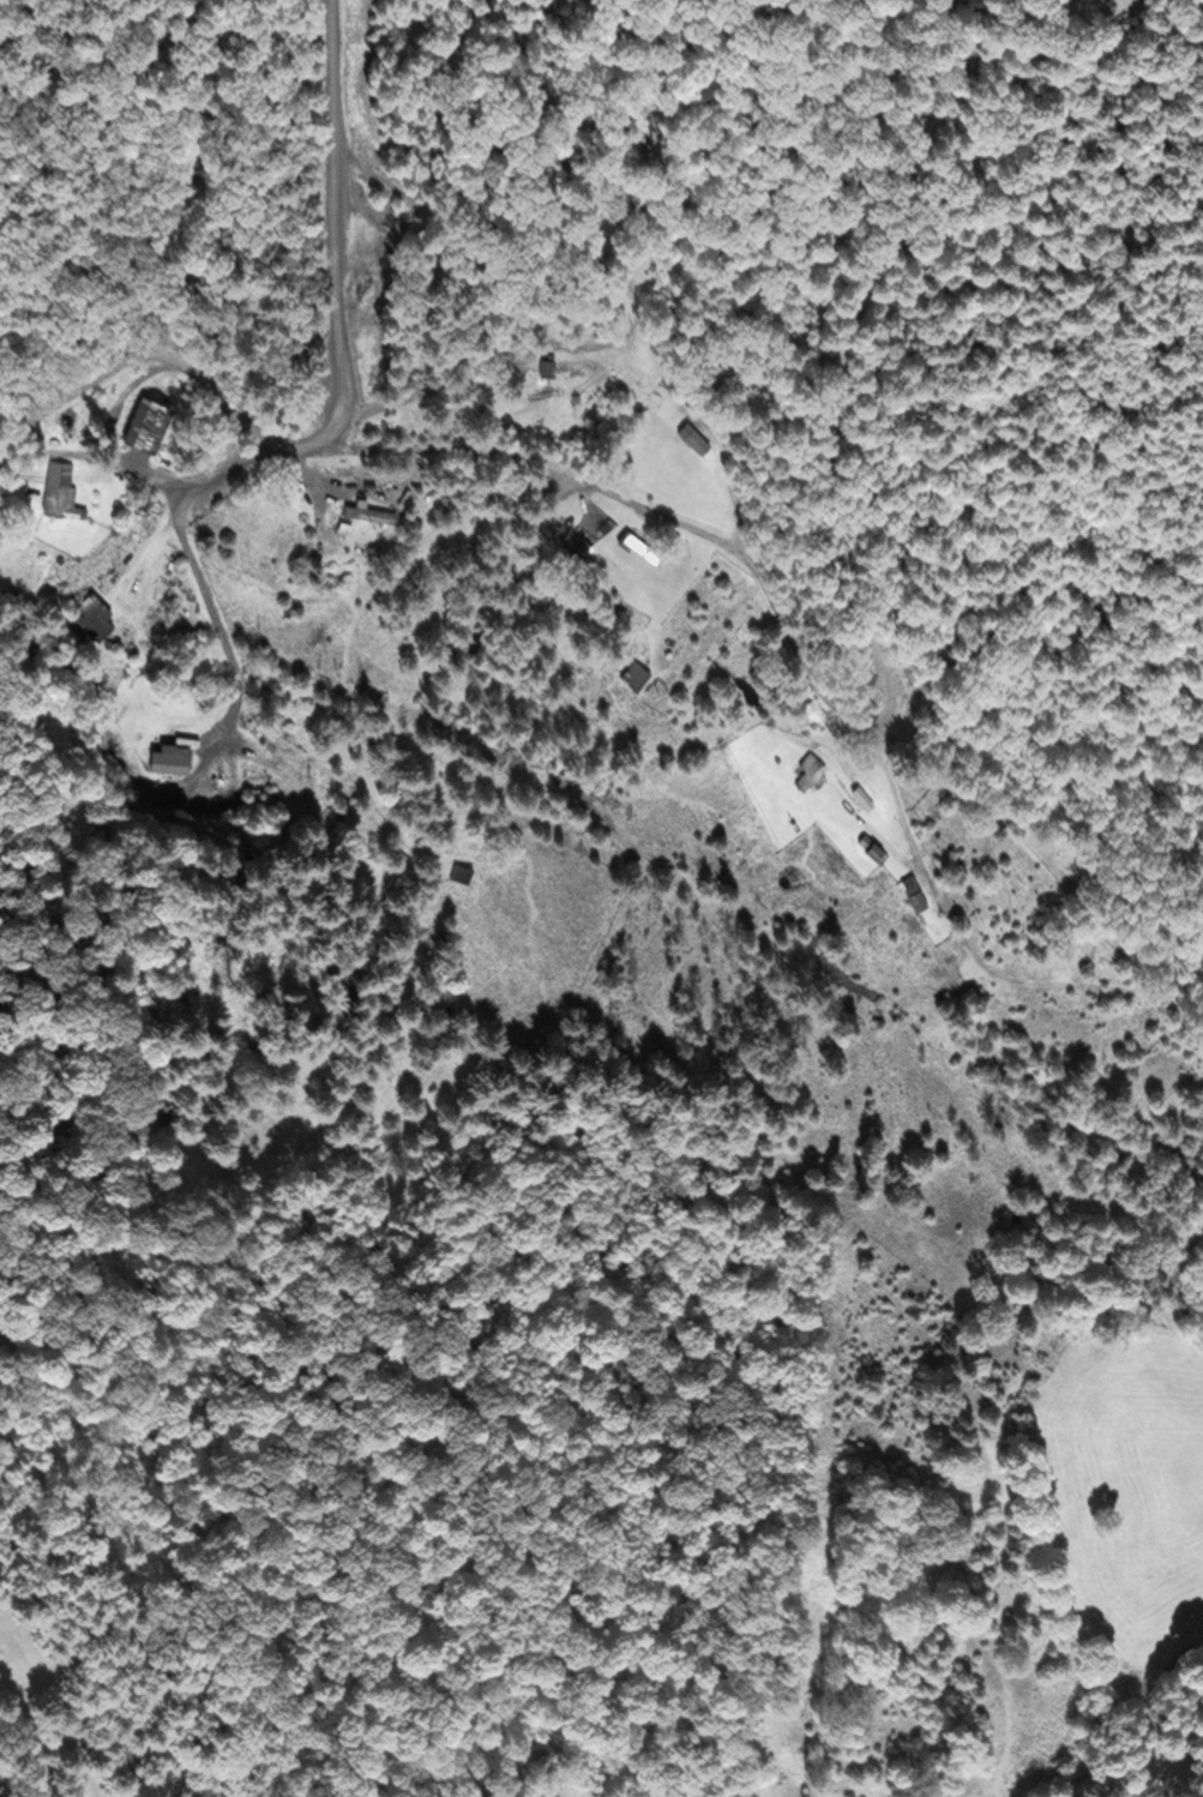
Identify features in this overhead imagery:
road: (336, 223)
building: (551, 367)
building: (151, 421)
building: (697, 437)
road: (95, 458)
building: (60, 486)
building: (373, 510)
road: (698, 530)
building: (581, 540)
building: (643, 546)
road: (200, 573)
building: (91, 611)
building: (637, 673)
building: (173, 756)
building: (811, 771)
building: (263, 800)
building: (874, 845)
building: (462, 871)
building: (916, 890)

